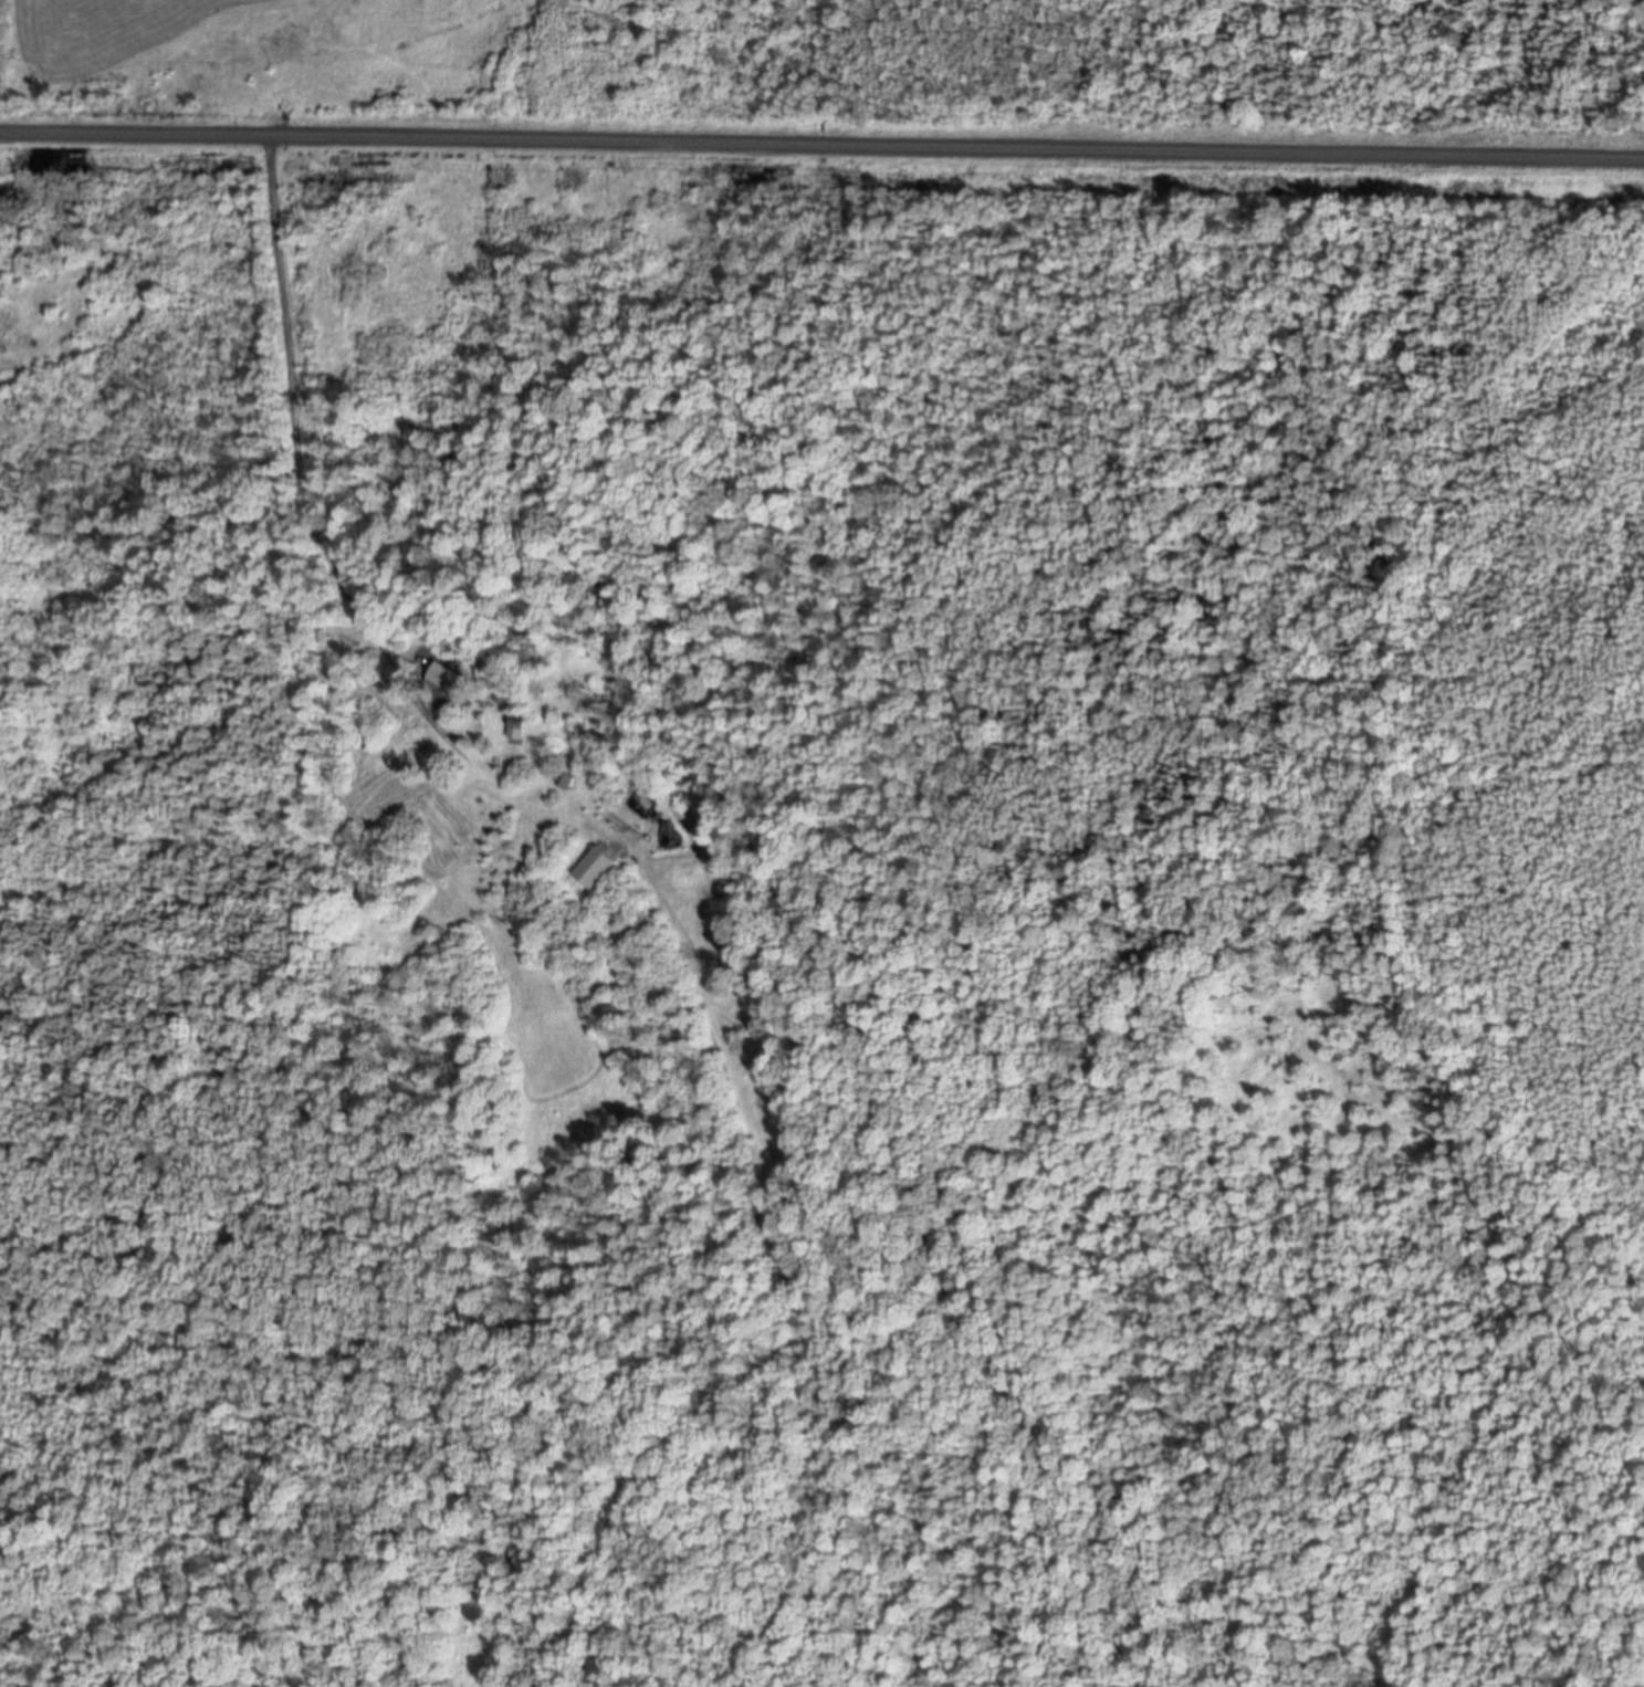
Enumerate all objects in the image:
road: (821, 147)
road: (300, 431)
building: (517, 731)
building: (564, 780)

